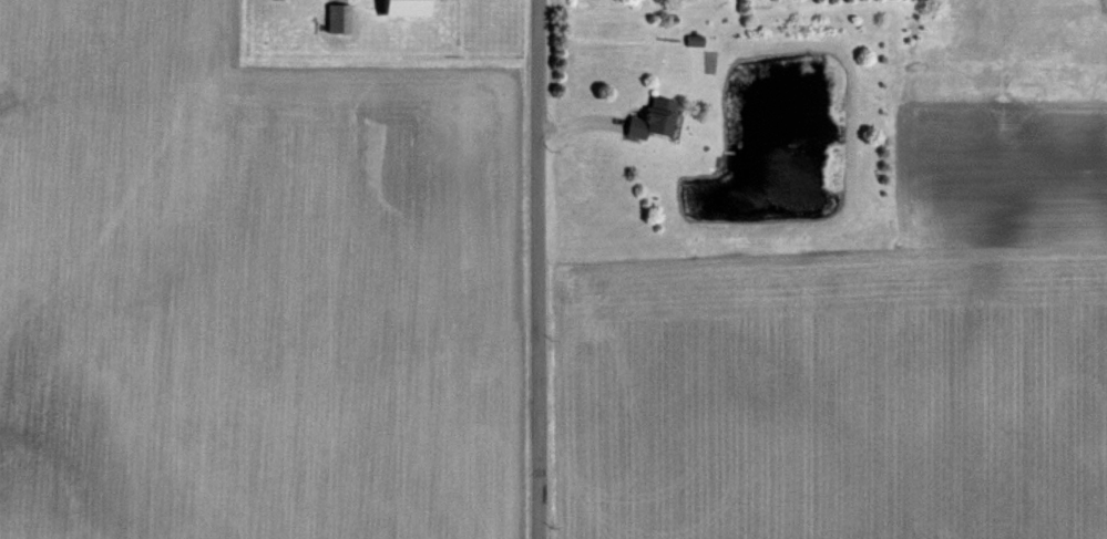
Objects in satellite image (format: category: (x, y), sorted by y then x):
building: (413, 8)
building: (344, 18)
building: (658, 120)
road: (537, 269)

